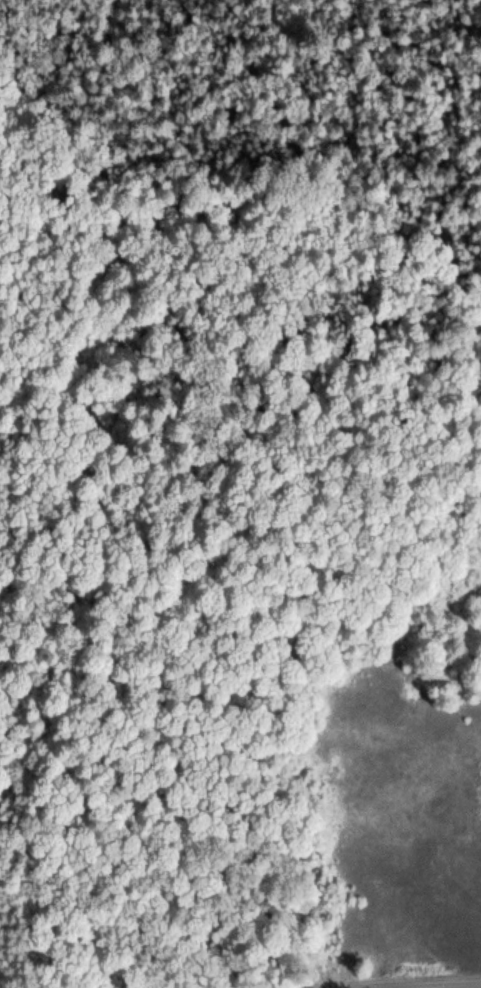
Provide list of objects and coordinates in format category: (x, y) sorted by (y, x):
road: (430, 984)

